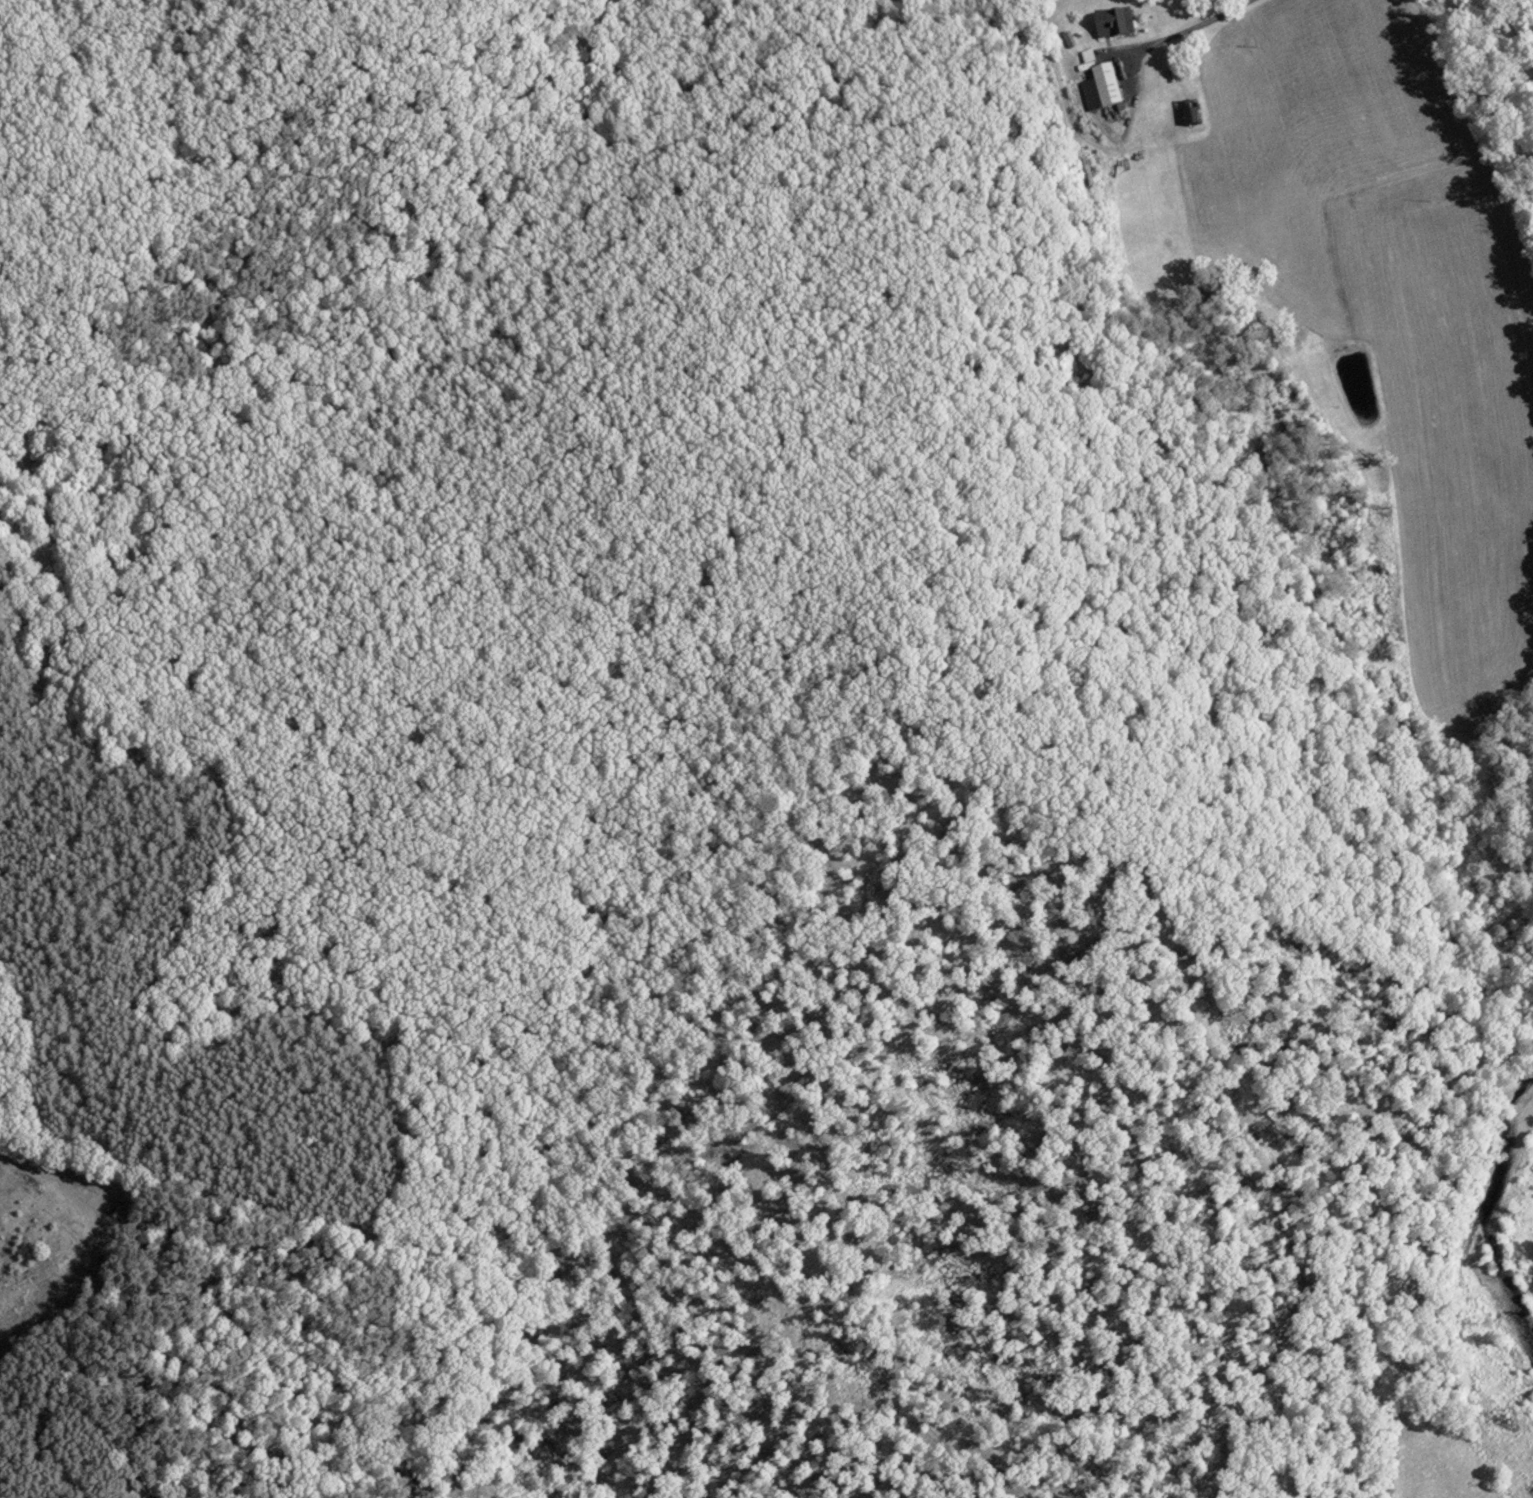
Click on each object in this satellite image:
road: (1196, 8)
building: (1115, 23)
building: (1103, 81)
building: (1188, 111)
river: (1483, 1214)

